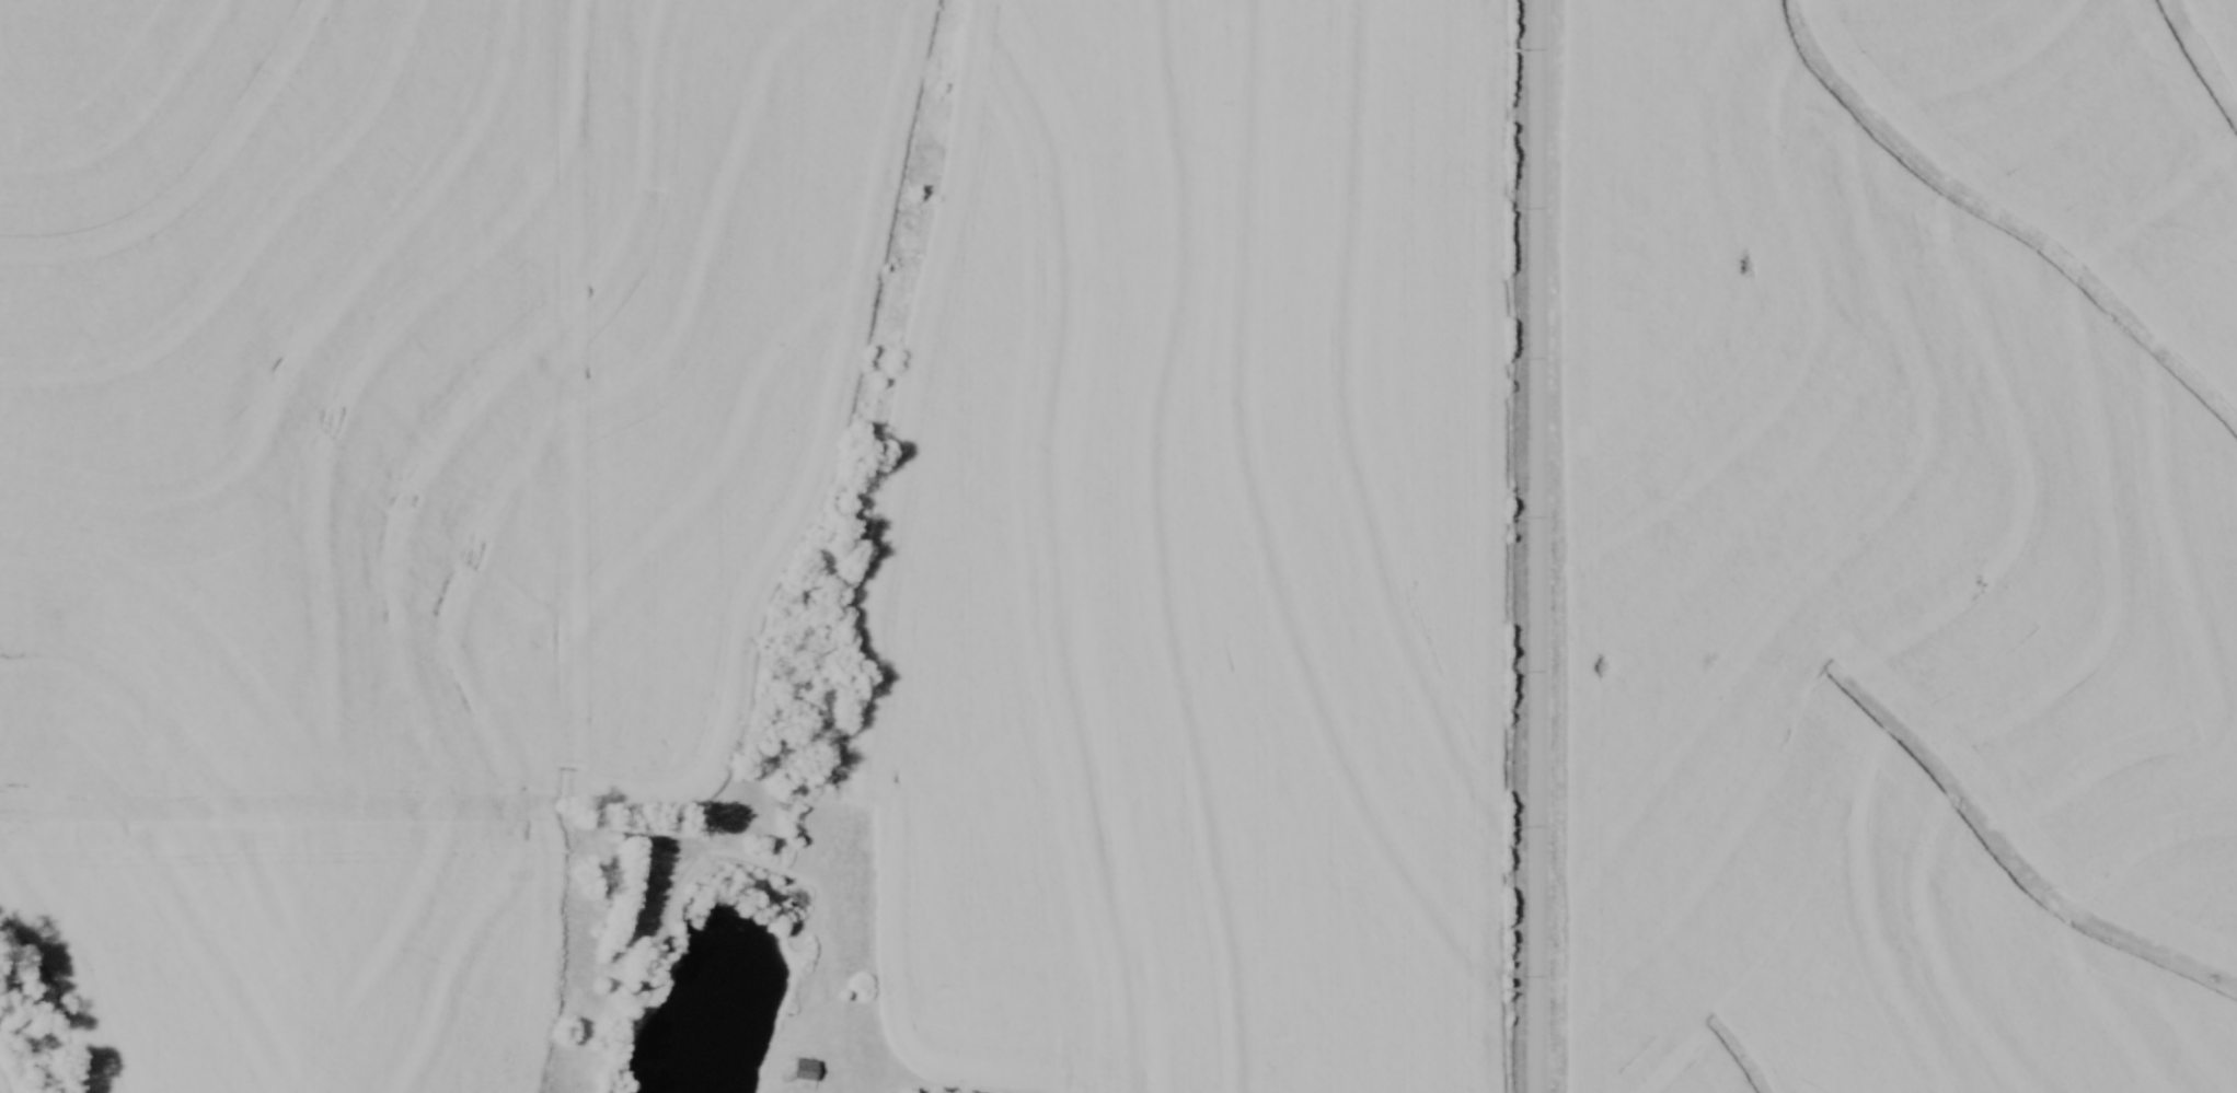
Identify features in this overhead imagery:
road: (1540, 546)
building: (807, 1069)

